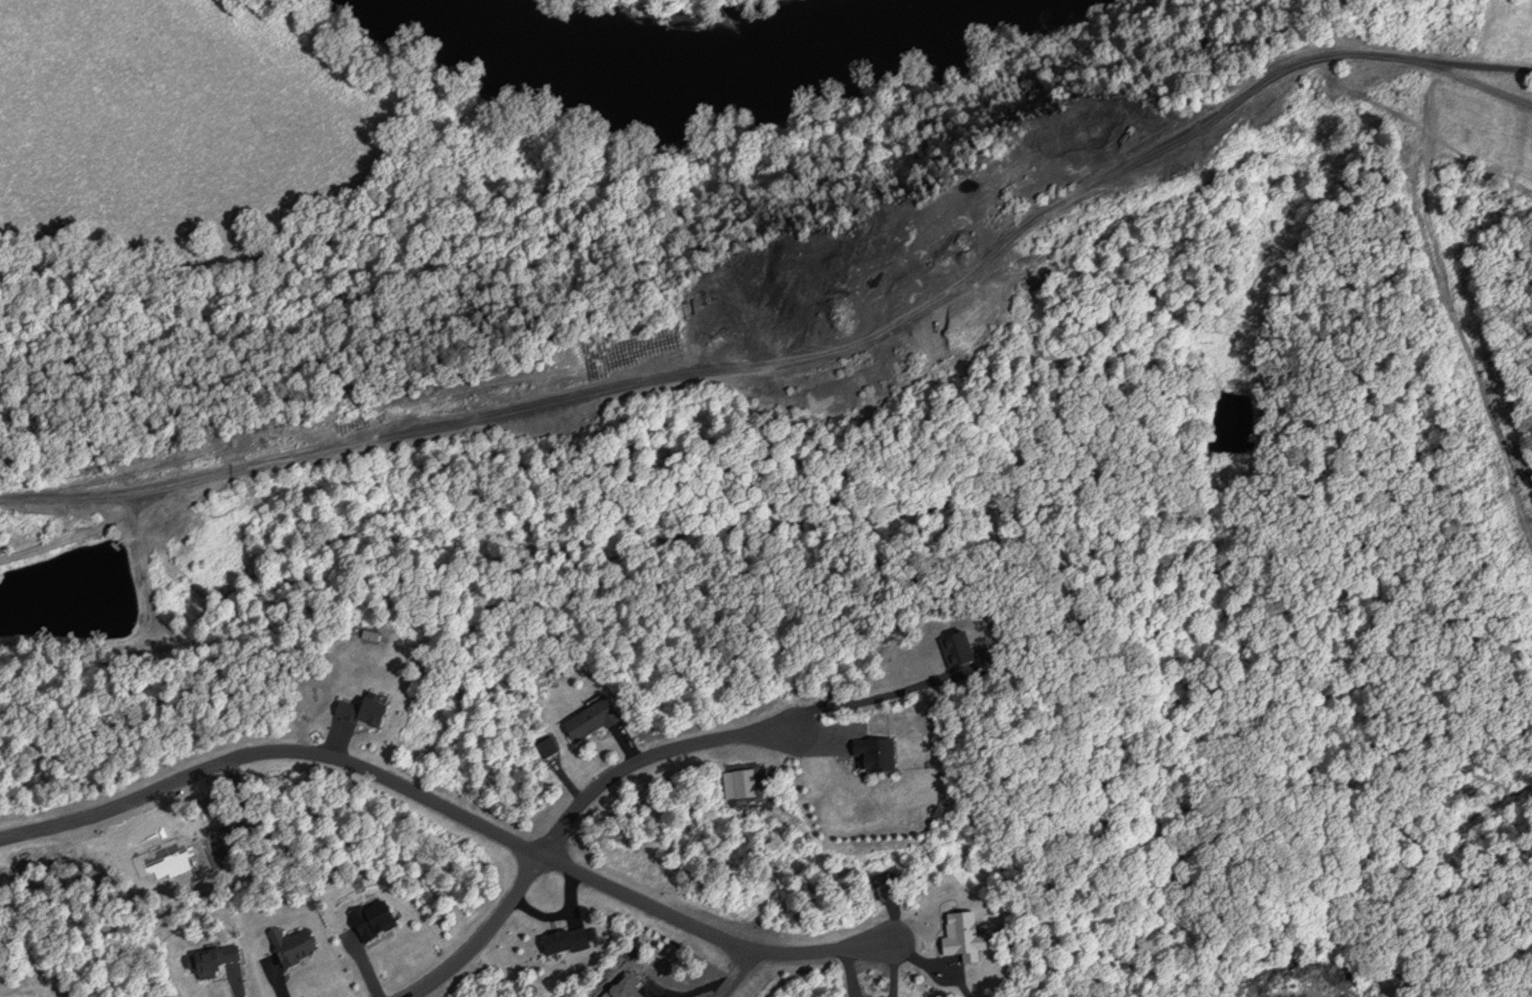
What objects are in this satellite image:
wastewater plant: (663, 2)
river: (731, 65)
road: (1456, 308)
building: (584, 718)
building: (872, 755)
road: (383, 773)
road: (570, 812)
building: (560, 940)
road: (820, 951)
building: (211, 962)
road: (736, 973)

